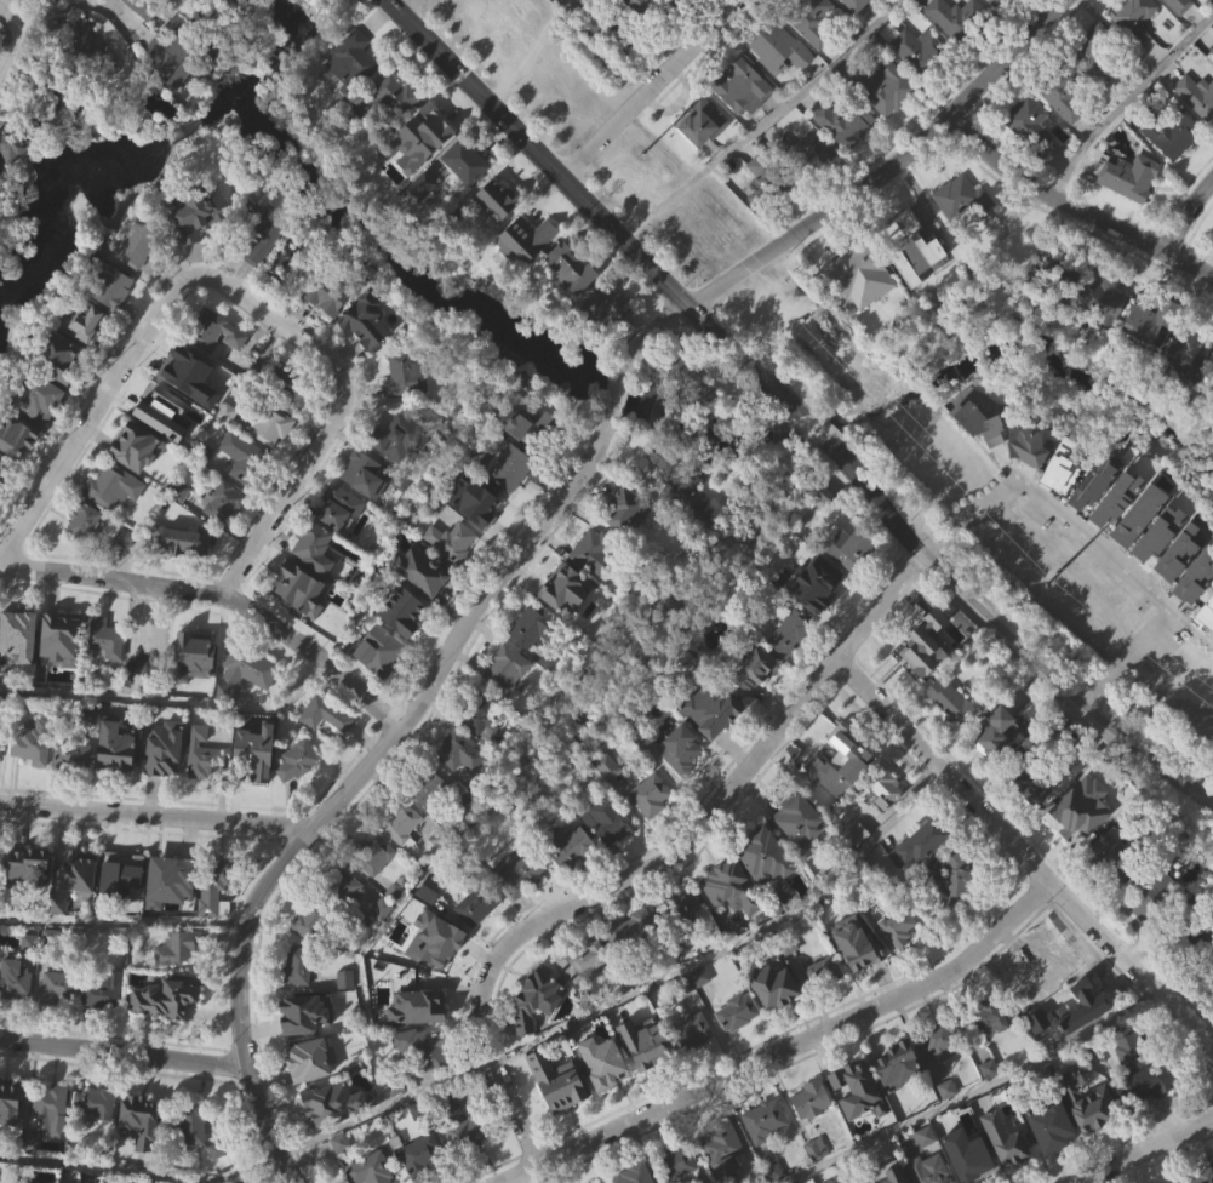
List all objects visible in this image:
building: (211, 0)
building: (1046, 0)
building: (694, 1)
building: (1205, 1)
building: (995, 2)
building: (853, 5)
building: (893, 5)
building: (1181, 5)
building: (142, 7)
road: (397, 7)
building: (545, 11)
building: (651, 11)
building: (50, 16)
building: (1133, 18)
building: (961, 19)
building: (991, 19)
building: (811, 21)
road: (4, 28)
building: (639, 32)
building: (612, 36)
building: (79, 47)
building: (778, 48)
building: (919, 48)
building: (178, 51)
building: (1097, 51)
building: (1135, 51)
building: (1212, 51)
road: (531, 53)
building: (814, 53)
building: (959, 55)
building: (351, 62)
building: (593, 64)
building: (87, 78)
building: (782, 86)
building: (742, 87)
building: (919, 87)
building: (883, 88)
road: (650, 90)
building: (1063, 90)
building: (167, 93)
building: (1196, 96)
building: (394, 97)
road: (1125, 101)
building: (353, 102)
building: (700, 121)
road: (762, 124)
building: (843, 124)
building: (743, 125)
building: (1029, 125)
building: (887, 126)
building: (431, 130)
building: (1197, 132)
building: (1065, 133)
building: (395, 136)
building: (1172, 136)
building: (55, 144)
building: (15, 145)
power tower: (642, 153)
building: (803, 154)
building: (702, 159)
building: (465, 161)
building: (1031, 161)
building: (848, 162)
building: (1174, 171)
building: (1129, 179)
building: (765, 182)
building: (12, 183)
building: (813, 185)
building: (418, 189)
road: (854, 194)
building: (470, 196)
building: (961, 199)
building: (496, 202)
road: (587, 207)
building: (195, 210)
road: (1072, 211)
building: (1, 212)
building: (1131, 215)
road: (1185, 218)
building: (767, 219)
building: (258, 233)
building: (957, 233)
building: (498, 236)
building: (525, 241)
building: (133, 244)
building: (200, 250)
building: (290, 265)
building: (849, 269)
building: (574, 270)
building: (262, 272)
building: (1062, 275)
building: (527, 278)
building: (137, 284)
building: (107, 285)
building: (330, 288)
road: (235, 292)
building: (916, 295)
building: (1105, 296)
building: (574, 304)
building: (606, 307)
building: (1058, 310)
building: (864, 315)
building: (1152, 319)
building: (82, 322)
building: (367, 322)
building: (115, 324)
building: (212, 331)
building: (328, 333)
building: (1105, 335)
building: (611, 342)
building: (1192, 352)
building: (55, 356)
building: (370, 359)
building: (85, 360)
building: (1150, 360)
building: (181, 364)
building: (218, 370)
building: (402, 376)
building: (1212, 378)
building: (692, 383)
road: (617, 394)
building: (62, 395)
building: (38, 400)
building: (183, 400)
building: (155, 402)
building: (256, 408)
building: (407, 412)
building: (1212, 417)
building: (697, 422)
building: (270, 424)
building: (291, 424)
building: (525, 424)
road: (819, 430)
building: (400, 434)
building: (41, 436)
building: (131, 440)
building: (166, 450)
building: (1, 459)
building: (980, 459)
building: (549, 461)
building: (248, 462)
building: (274, 462)
building: (514, 467)
building: (1, 469)
building: (360, 473)
building: (395, 474)
building: (1025, 481)
building: (111, 485)
building: (138, 485)
building: (688, 487)
building: (244, 493)
building: (482, 501)
building: (222, 502)
road: (991, 503)
building: (4, 504)
building: (338, 504)
building: (513, 504)
building: (1063, 507)
building: (629, 508)
building: (365, 512)
road: (957, 519)
building: (1097, 519)
building: (82, 520)
building: (115, 522)
building: (692, 528)
building: (826, 533)
building: (1117, 536)
building: (476, 538)
building: (225, 539)
building: (451, 541)
building: (179, 542)
building: (311, 542)
building: (342, 544)
building: (628, 549)
building: (853, 549)
building: (591, 550)
building: (1140, 553)
building: (85, 556)
building: (420, 568)
building: (1160, 572)
building: (126, 575)
building: (184, 577)
building: (457, 578)
road: (1143, 582)
building: (316, 584)
building: (572, 584)
building: (852, 585)
power tower: (1046, 585)
building: (817, 587)
building: (595, 588)
building: (293, 589)
road: (219, 599)
building: (1189, 601)
building: (424, 606)
building: (404, 611)
building: (818, 624)
building: (302, 625)
building: (534, 625)
building: (61, 627)
building: (570, 627)
building: (18, 633)
building: (789, 633)
building: (102, 638)
building: (148, 642)
road: (1012, 644)
building: (194, 647)
building: (405, 647)
building: (379, 650)
building: (917, 651)
building: (1207, 651)
building: (533, 664)
building: (248, 665)
building: (749, 665)
building: (505, 667)
building: (790, 670)
building: (22, 671)
building: (63, 675)
building: (120, 680)
building: (150, 680)
building: (926, 682)
building: (196, 685)
building: (381, 687)
building: (951, 703)
building: (251, 705)
building: (508, 705)
building: (713, 707)
building: (754, 707)
building: (479, 711)
building: (324, 714)
building: (132, 719)
building: (643, 737)
building: (951, 738)
building: (33, 742)
building: (999, 743)
building: (114, 744)
building: (162, 747)
building: (713, 747)
building: (459, 750)
building: (327, 751)
building: (250, 753)
building: (485, 753)
building: (682, 753)
building: (201, 754)
building: (71, 755)
building: (297, 760)
building: (831, 764)
building: (997, 770)
building: (1100, 781)
building: (118, 782)
building: (1, 783)
building: (33, 783)
building: (1029, 783)
building: (882, 784)
road: (351, 785)
building: (682, 785)
building: (166, 787)
building: (204, 789)
building: (429, 790)
building: (74, 791)
building: (251, 791)
building: (650, 795)
building: (474, 796)
building: (297, 798)
building: (840, 800)
road: (155, 815)
building: (610, 817)
building: (800, 822)
building: (1032, 822)
building: (1064, 823)
building: (399, 824)
building: (886, 824)
building: (431, 825)
building: (652, 831)
building: (567, 845)
building: (1081, 845)
building: (1, 853)
building: (373, 855)
building: (608, 857)
road: (1025, 857)
building: (402, 858)
building: (801, 858)
building: (761, 859)
building: (1111, 859)
building: (27, 867)
road: (658, 868)
building: (76, 869)
building: (171, 871)
building: (119, 873)
building: (519, 873)
building: (925, 878)
building: (951, 880)
building: (570, 882)
building: (213, 886)
building: (1157, 891)
building: (2, 892)
building: (377, 892)
building: (766, 892)
building: (1117, 892)
building: (344, 897)
building: (476, 898)
building: (32, 903)
building: (680, 904)
building: (122, 908)
building: (522, 908)
building: (79, 909)
building: (171, 918)
building: (309, 919)
building: (345, 922)
road: (122, 925)
building: (216, 925)
building: (732, 925)
building: (899, 925)
building: (397, 928)
building: (631, 931)
building: (1155, 931)
building: (59, 941)
road: (736, 941)
building: (854, 941)
building: (476, 942)
building: (683, 942)
building: (384, 944)
building: (442, 944)
building: (1197, 944)
building: (176, 948)
building: (582, 961)
building: (900, 964)
building: (297, 966)
building: (633, 966)
building: (1046, 966)
building: (823, 971)
building: (1209, 971)
building: (13, 978)
building: (858, 981)
building: (773, 985)
building: (57, 987)
building: (102, 993)
building: (435, 996)
building: (587, 998)
building: (166, 999)
building: (1089, 999)
building: (534, 1000)
building: (1047, 1004)
building: (824, 1008)
building: (296, 1012)
building: (737, 1012)
building: (702, 1013)
building: (988, 1016)
building: (17, 1017)
building: (59, 1023)
building: (774, 1023)
building: (325, 1024)
building: (103, 1027)
building: (692, 1030)
building: (167, 1034)
building: (538, 1034)
building: (939, 1038)
building: (1091, 1038)
building: (1128, 1046)
building: (423, 1048)
building: (650, 1048)
building: (738, 1048)
road: (790, 1050)
road: (124, 1055)
building: (989, 1055)
building: (309, 1059)
building: (606, 1062)
building: (899, 1065)
building: (694, 1067)
building: (1129, 1078)
building: (942, 1079)
building: (1156, 1079)
building: (646, 1081)
building: (425, 1084)
building: (557, 1087)
building: (859, 1088)
building: (8, 1095)
road: (974, 1095)
building: (311, 1096)
building: (606, 1098)
building: (811, 1099)
building: (898, 1101)
building: (1088, 1101)
building: (48, 1102)
building: (93, 1103)
building: (331, 1104)
road: (383, 1105)
building: (991, 1105)
building: (1152, 1116)
building: (559, 1118)
building: (139, 1120)
building: (396, 1120)
building: (765, 1120)
building: (188, 1124)
building: (465, 1125)
building: (859, 1125)
building: (946, 1126)
building: (1053, 1127)
building: (812, 1136)
building: (11, 1138)
building: (334, 1138)
building: (1088, 1138)
building: (96, 1139)
building: (1006, 1142)
building: (53, 1144)
building: (722, 1150)
road: (1145, 1150)
building: (142, 1155)
building: (418, 1156)
building: (766, 1156)
building: (969, 1161)
building: (1052, 1161)
building: (190, 1162)
building: (675, 1162)
building: (1002, 1167)
building: (468, 1168)
building: (368, 1170)
road: (139, 1171)
building: (927, 1171)
building: (634, 1175)
building: (32, 1176)
building: (963, 1176)
building: (341, 1177)
building: (1203, 1177)
building: (427, 1178)
building: (817, 1179)
building: (683, 1181)
building: (832, 1181)
building: (876, 1181)
building: (891, 1182)
building: (902, 1182)

